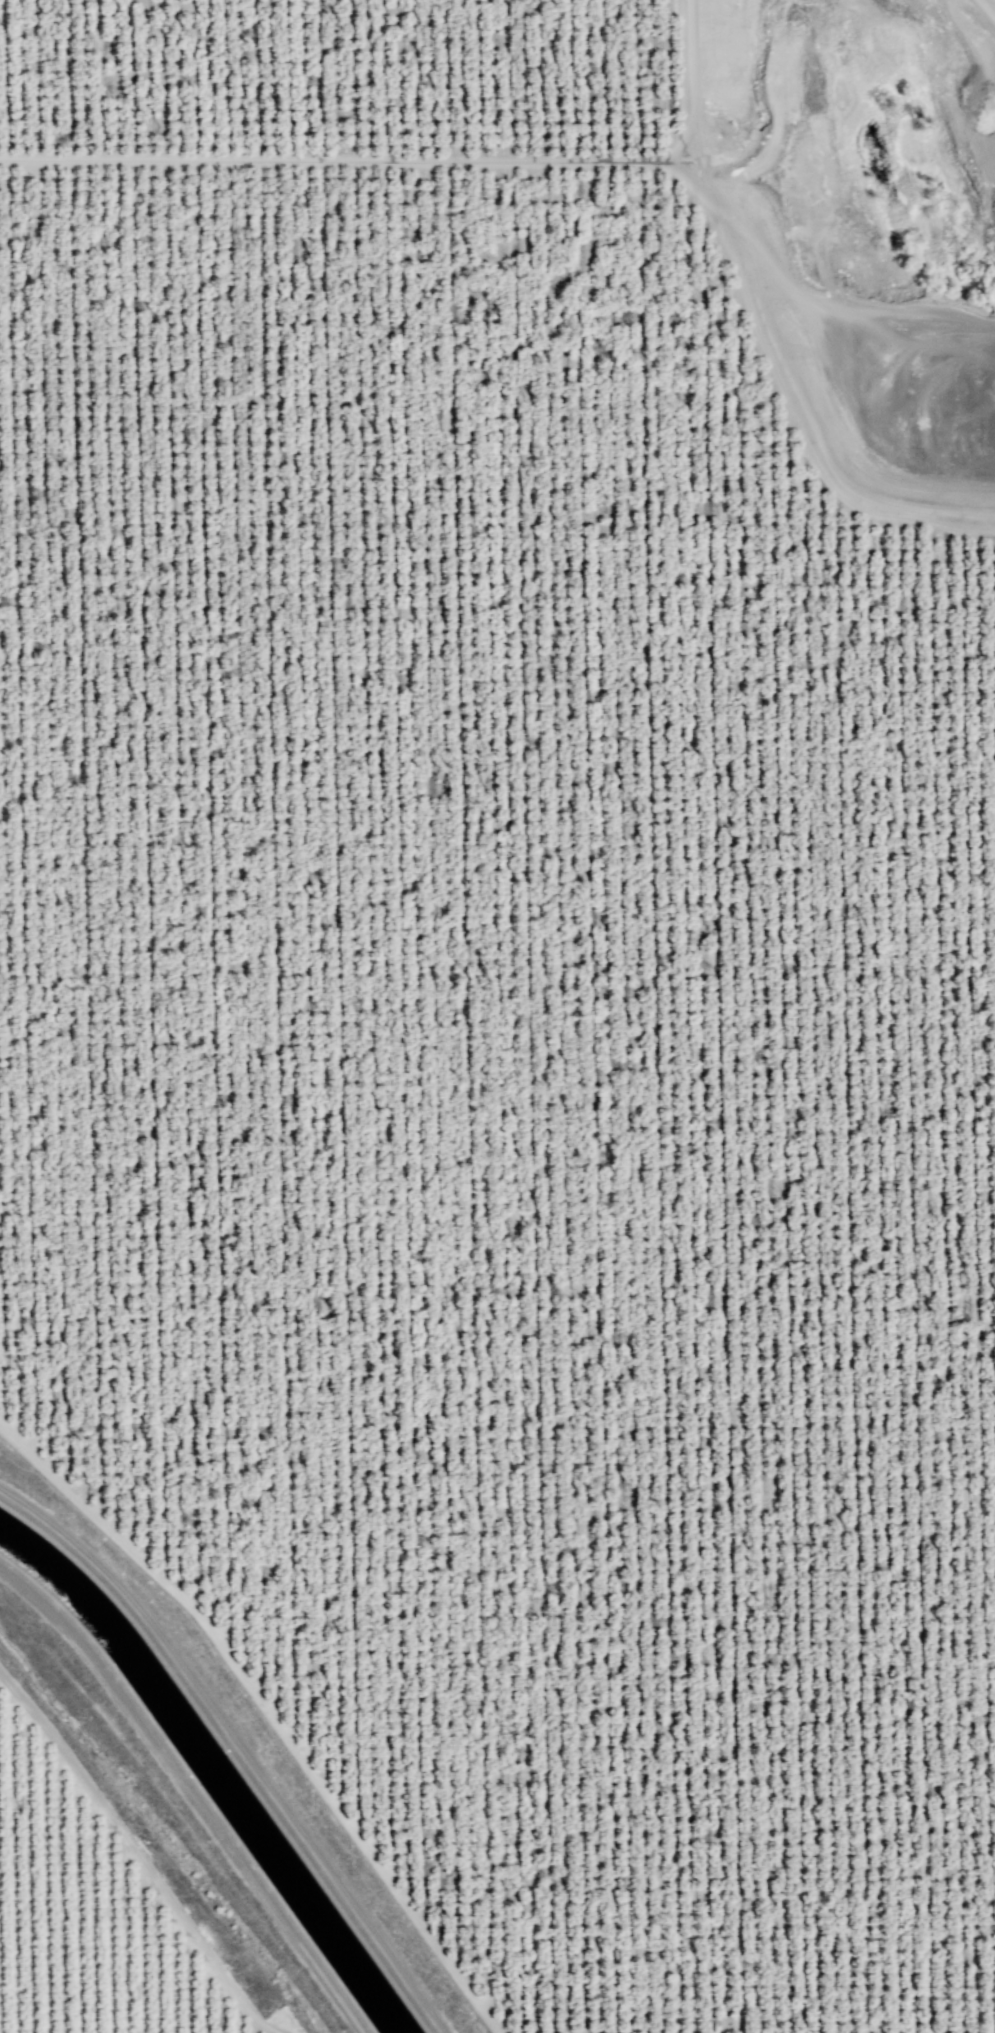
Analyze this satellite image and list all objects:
road: (339, 160)
quarry: (859, 234)
road: (267, 1712)
road: (237, 1746)

